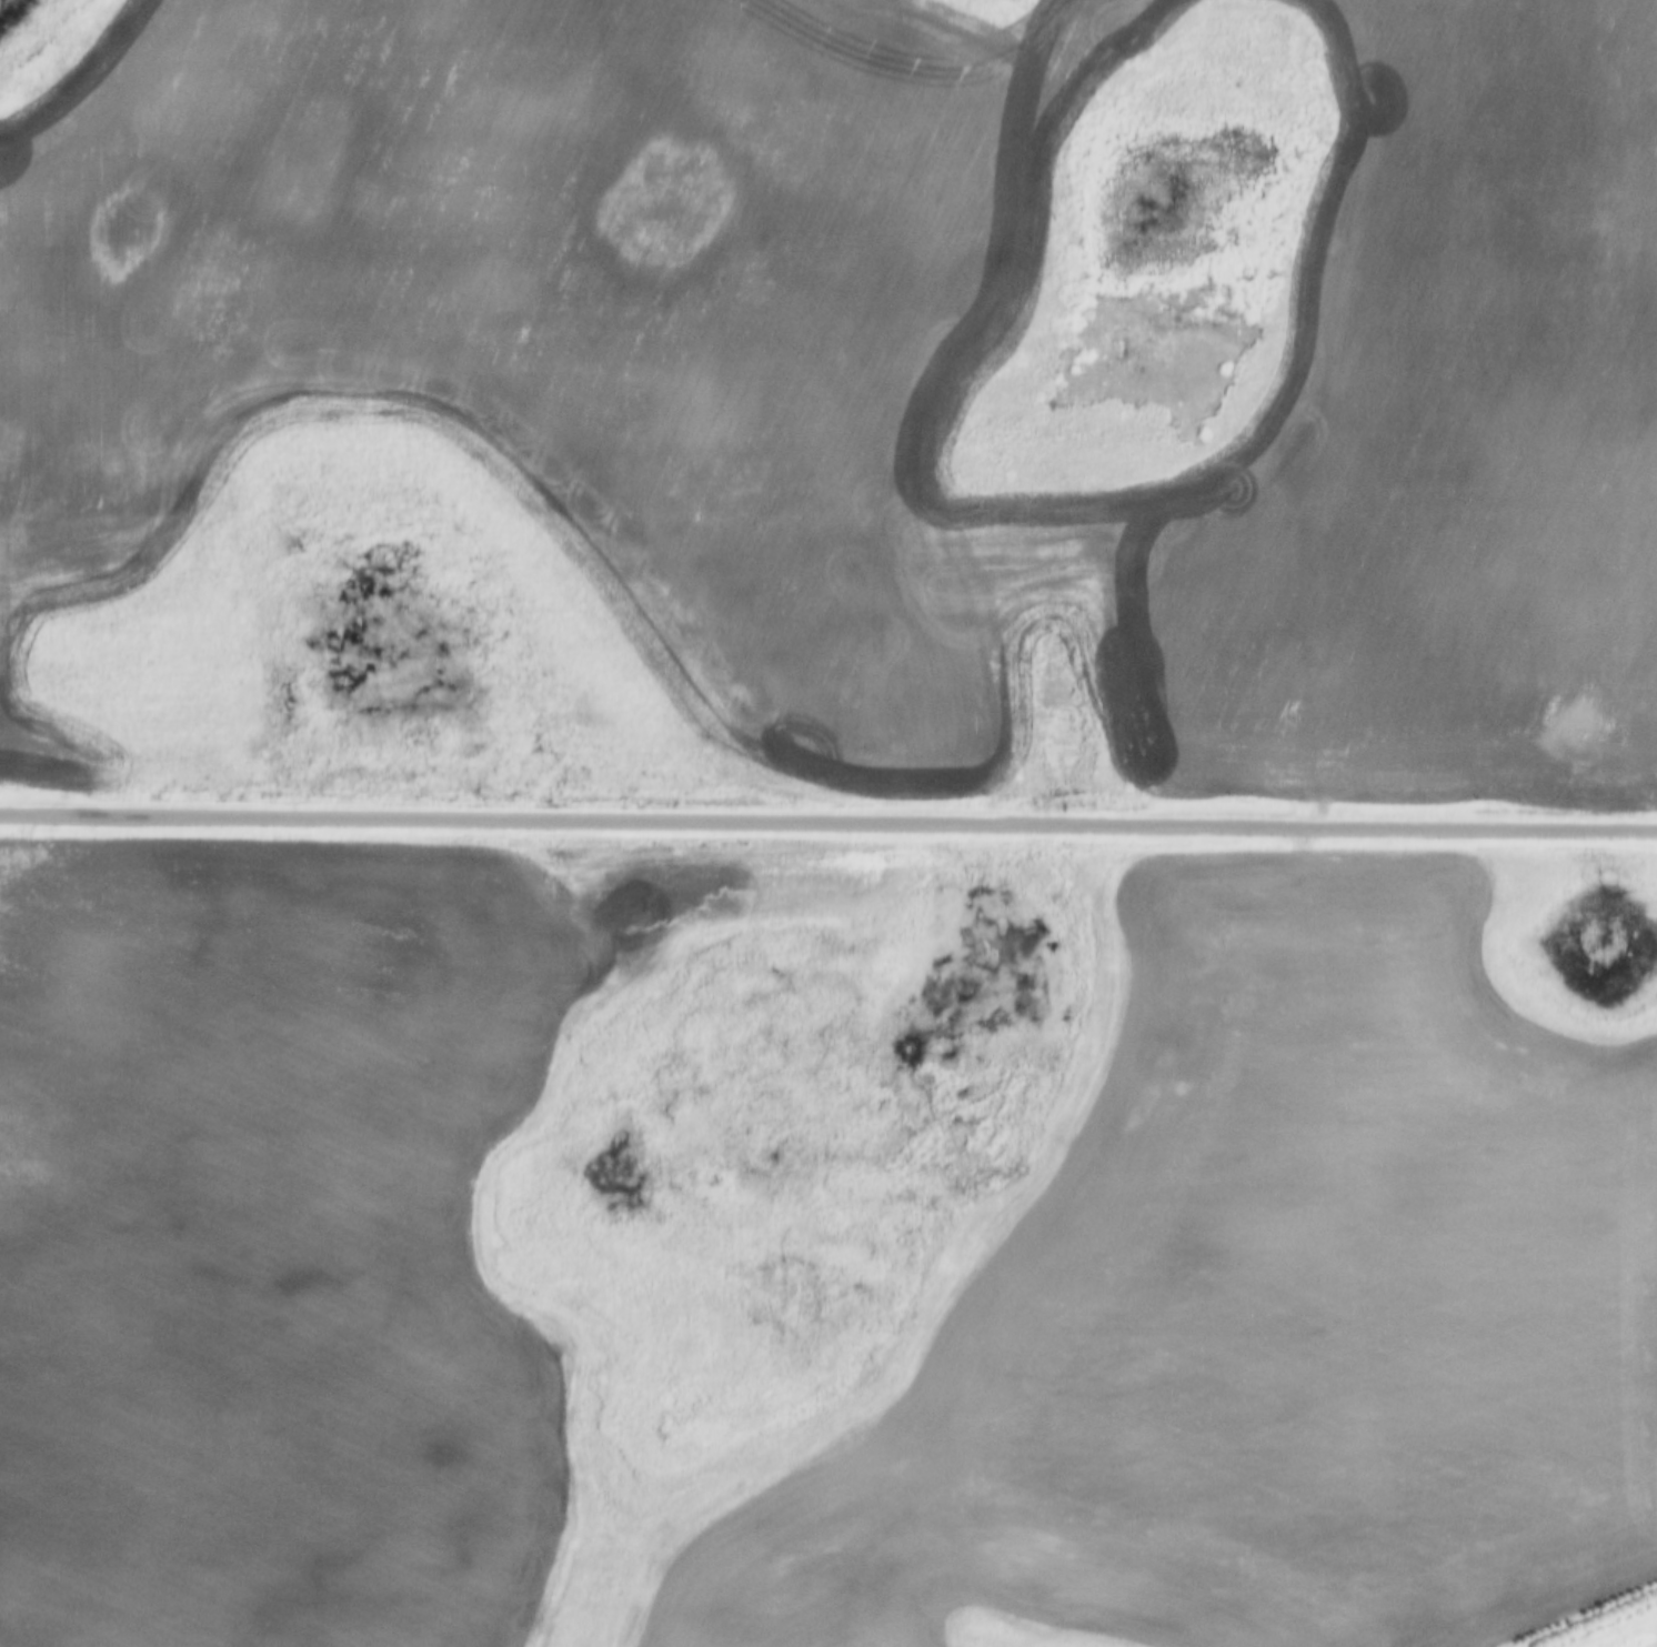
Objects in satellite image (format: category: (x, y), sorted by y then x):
road: (828, 823)

